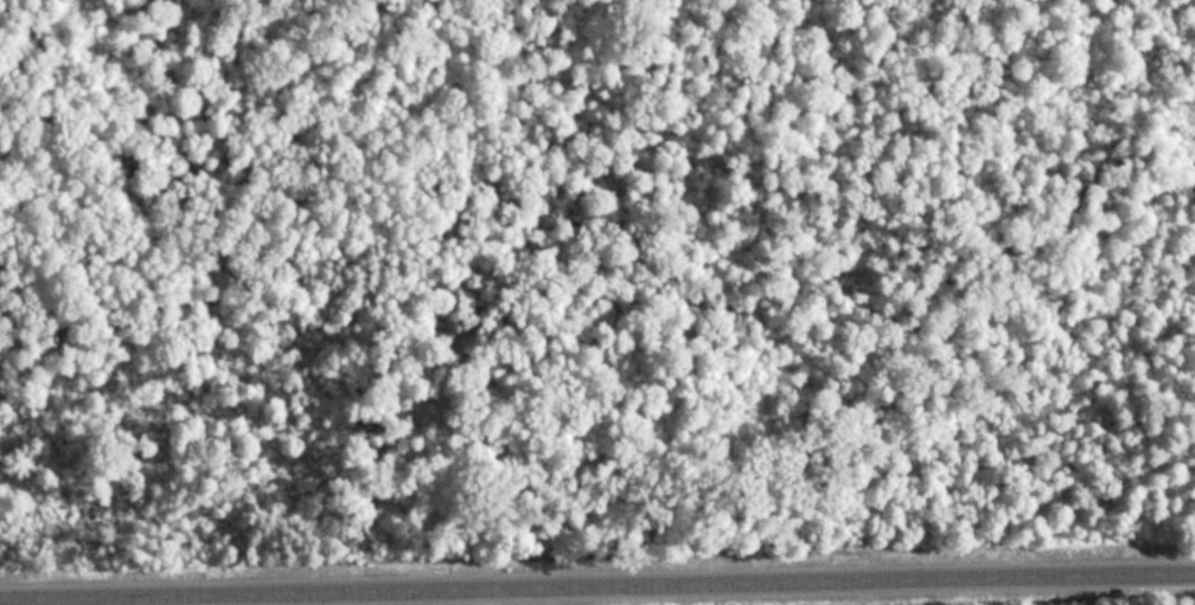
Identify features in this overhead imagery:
park: (597, 302)
road: (624, 591)

